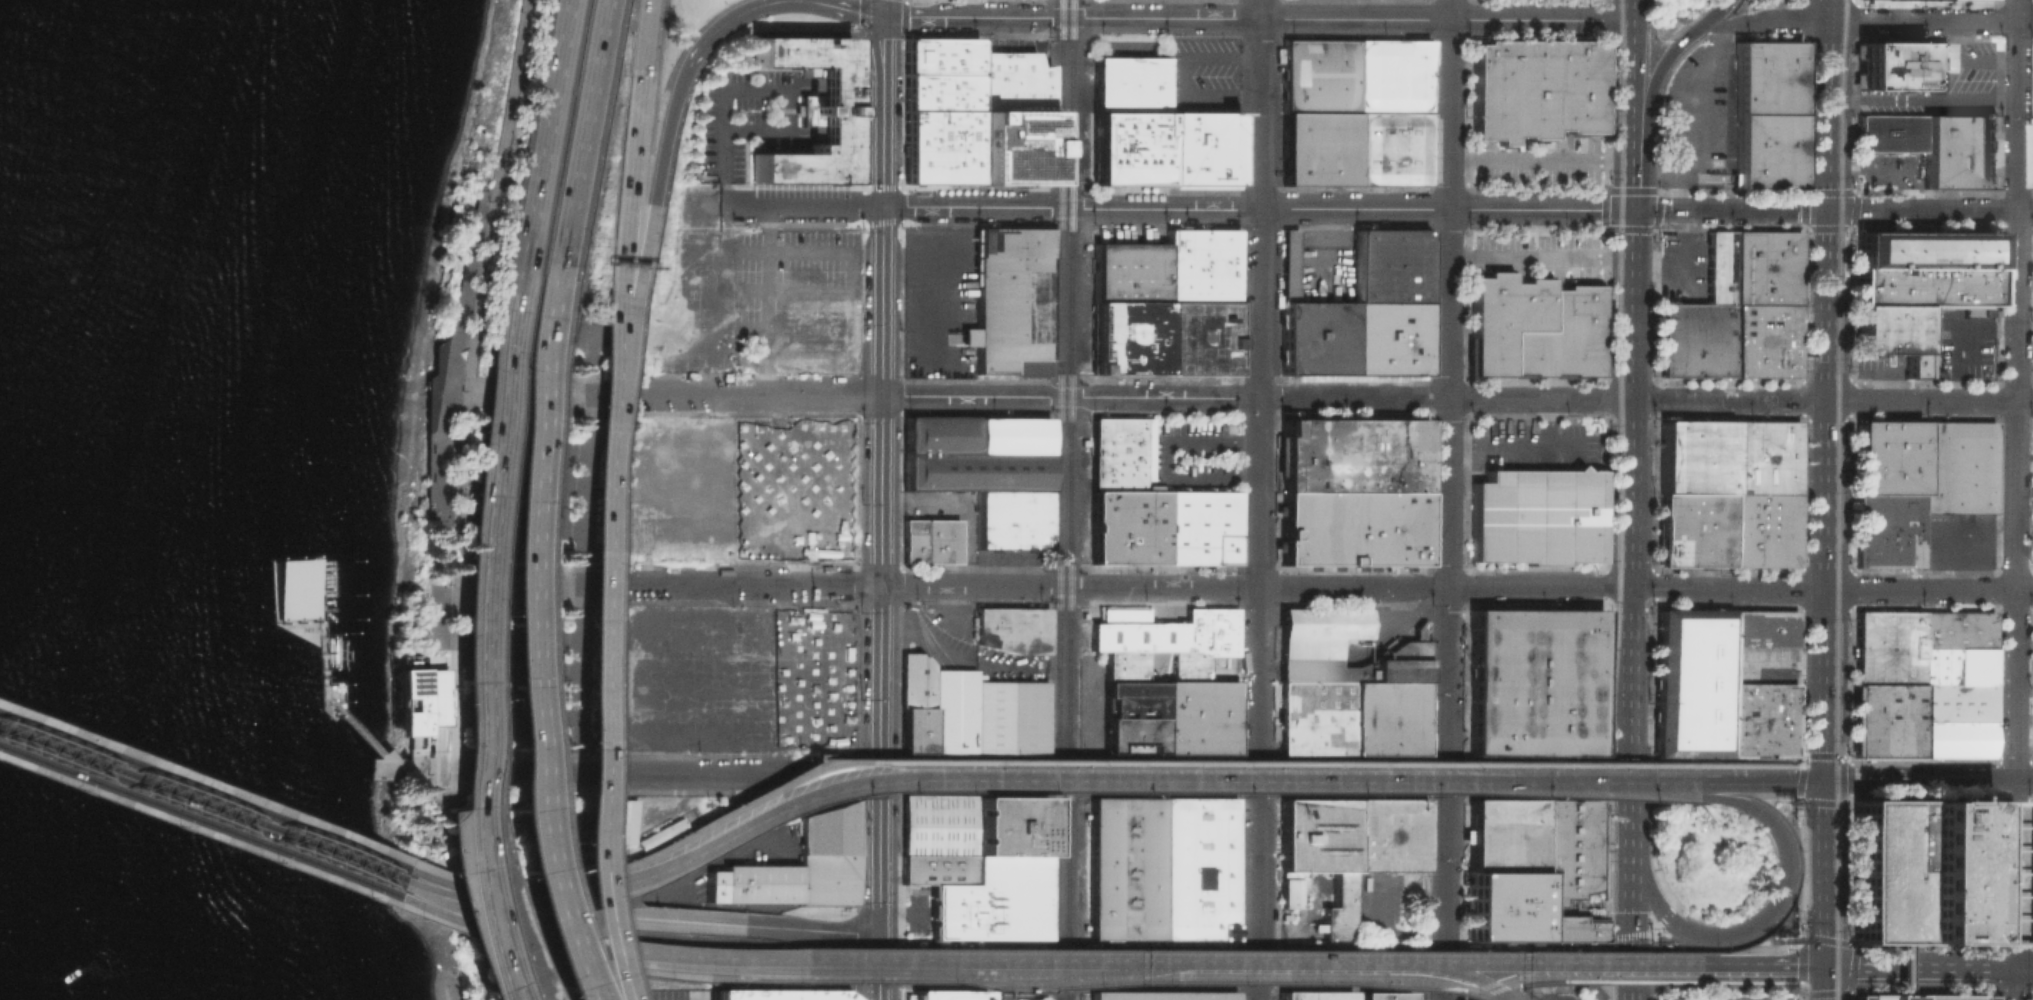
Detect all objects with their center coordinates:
parking lot: (1769, 0)
road: (771, 2)
road: (873, 8)
road: (1628, 10)
road: (1715, 13)
road: (975, 16)
road: (1349, 19)
road: (1866, 21)
road: (1986, 61)
building: (1891, 68)
building: (1934, 68)
parking lot: (1191, 70)
building: (983, 71)
building: (1766, 79)
road: (1653, 83)
building: (1133, 85)
road: (1629, 88)
parking lot: (1946, 88)
building: (1534, 89)
building: (939, 91)
road: (1922, 99)
road: (1448, 104)
parking lot: (1698, 108)
building: (808, 110)
building: (1358, 112)
road: (1684, 114)
parking lot: (749, 117)
road: (2025, 120)
road: (548, 129)
road: (585, 131)
building: (1889, 134)
road: (725, 136)
road: (633, 139)
building: (939, 146)
building: (1011, 146)
building: (1132, 150)
building: (1205, 150)
building: (1765, 152)
building: (1959, 152)
road: (1539, 162)
parking lot: (1538, 168)
parking lot: (1880, 171)
road: (1882, 171)
road: (661, 174)
road: (1657, 174)
road: (1631, 182)
road: (803, 205)
road: (1256, 208)
traffic signals: (1631, 209)
road: (1656, 209)
traffic signals: (1827, 210)
road: (1857, 210)
river: (62, 219)
railway: (1847, 234)
road: (2016, 248)
road: (2024, 249)
parking lot: (938, 252)
road: (1539, 254)
parking lot: (1542, 255)
parking lot: (1325, 263)
building: (1203, 264)
building: (1764, 268)
parking lot: (1683, 269)
building: (1719, 269)
building: (1927, 270)
building: (1130, 271)
road: (1682, 273)
road: (479, 291)
road: (765, 300)
parking lot: (794, 300)
road: (2024, 301)
road: (1631, 304)
building: (988, 305)
building: (1362, 308)
railway: (1608, 323)
building: (1535, 328)
building: (1892, 334)
building: (1203, 336)
building: (1130, 337)
road: (1963, 340)
building: (1696, 341)
building: (1764, 341)
road: (616, 342)
road: (625, 343)
building: (1926, 343)
parking lot: (1964, 343)
road: (450, 366)
parking lot: (1880, 366)
parking lot: (940, 368)
road: (1889, 377)
road: (1827, 391)
road: (520, 394)
road: (697, 394)
road: (851, 395)
road: (1255, 396)
road: (1448, 398)
road: (1832, 400)
road: (1546, 422)
parking lot: (1535, 444)
road: (1512, 446)
park: (457, 448)
parking lot: (1191, 455)
road: (1172, 458)
building: (1695, 458)
building: (1888, 458)
building: (1764, 459)
building: (1956, 467)
building: (987, 472)
parking lot: (792, 488)
building: (1353, 493)
road: (1630, 493)
road: (881, 499)
railway: (1058, 499)
railway: (1069, 499)
road: (1258, 499)
railway: (1837, 499)
railway: (1618, 500)
building: (1152, 509)
road: (529, 510)
building: (1537, 517)
building: (1694, 531)
building: (1887, 531)
building: (1763, 532)
road: (1952, 537)
parking lot: (1956, 540)
building: (930, 542)
road: (482, 546)
road: (581, 550)
parking lot: (1011, 557)
road: (513, 583)
road: (592, 583)
road: (1120, 586)
building: (296, 588)
road: (1831, 589)
road: (323, 603)
pier: (308, 615)
building: (1762, 628)
building: (1955, 628)
building: (1013, 629)
building: (1885, 646)
building: (1307, 647)
road: (1629, 652)
building: (1955, 664)
parking lot: (1762, 665)
road: (1786, 665)
road: (327, 675)
parking lot: (689, 677)
parking lot: (811, 678)
building: (1532, 678)
road: (1447, 679)
building: (1168, 682)
building: (1693, 682)
building: (420, 699)
road: (592, 702)
building: (1954, 702)
road: (453, 703)
building: (969, 711)
road: (837, 715)
building: (1314, 717)
building: (1387, 718)
building: (1762, 720)
building: (1885, 720)
road: (362, 734)
building: (1954, 740)
road: (1628, 743)
road: (2014, 748)
road: (866, 755)
road: (1814, 756)
road: (811, 761)
road: (840, 762)
road: (1282, 763)
road: (1803, 763)
road: (1746, 765)
road: (438, 767)
road: (894, 767)
road: (395, 768)
road: (672, 768)
road: (1254, 770)
road: (1802, 774)
road: (409, 778)
road: (565, 779)
road: (1228, 779)
road: (1919, 781)
road: (1617, 782)
road: (2023, 782)
road: (1760, 783)
traffic signals: (1825, 783)
road: (213, 785)
road: (212, 792)
road: (1628, 796)
road: (550, 797)
road: (209, 808)
road: (456, 808)
road: (752, 814)
building: (623, 820)
road: (207, 822)
building: (937, 824)
parking lot: (937, 824)
building: (1009, 825)
road: (206, 830)
road: (890, 834)
road: (687, 835)
railway: (1844, 843)
building: (1344, 848)
building: (831, 856)
railway: (1606, 858)
building: (1526, 861)
building: (937, 868)
building: (1126, 868)
road: (1445, 868)
building: (1199, 869)
building: (1921, 870)
road: (1638, 872)
road: (1825, 874)
road: (1627, 876)
road: (456, 880)
road: (488, 880)
road: (554, 882)
building: (756, 883)
road: (1786, 883)
road: (437, 892)
road: (472, 895)
road: (542, 895)
road: (512, 897)
building: (995, 901)
road: (475, 905)
parking lot: (1388, 906)
road: (470, 908)
road: (616, 908)
road: (473, 910)
parking lot: (1306, 910)
traffic signals: (1627, 910)
road: (448, 912)
parking lot: (915, 913)
road: (902, 914)
road: (550, 915)
road: (498, 919)
road: (695, 920)
road: (767, 926)
road: (834, 930)
road: (480, 931)
road: (1640, 932)
road: (560, 937)
road: (1215, 956)
road: (711, 960)
road: (833, 960)
road: (1294, 960)
road: (1652, 960)
road: (1141, 961)
road: (944, 962)
road: (1552, 962)
road: (1581, 966)
road: (1618, 966)
road: (1627, 966)
road: (1759, 966)
traffic signals: (1824, 967)
road: (1928, 967)
road: (634, 970)
road: (1898, 970)
road: (1044, 974)
road: (754, 975)
road: (549, 976)
road: (1457, 977)
road: (1580, 978)
road: (1633, 980)
road: (859, 981)
road: (1792, 981)
road: (1238, 982)
road: (1445, 982)
road: (1824, 983)
road: (1726, 989)
road: (1801, 990)
road: (1000, 992)
road: (1451, 992)
road: (1471, 992)
building: (776, 995)
building: (948, 995)
building: (1161, 996)
building: (1311, 996)
building: (1383, 996)
parking lot: (1722, 997)
building: (1919, 998)
parking lot: (1919, 998)

